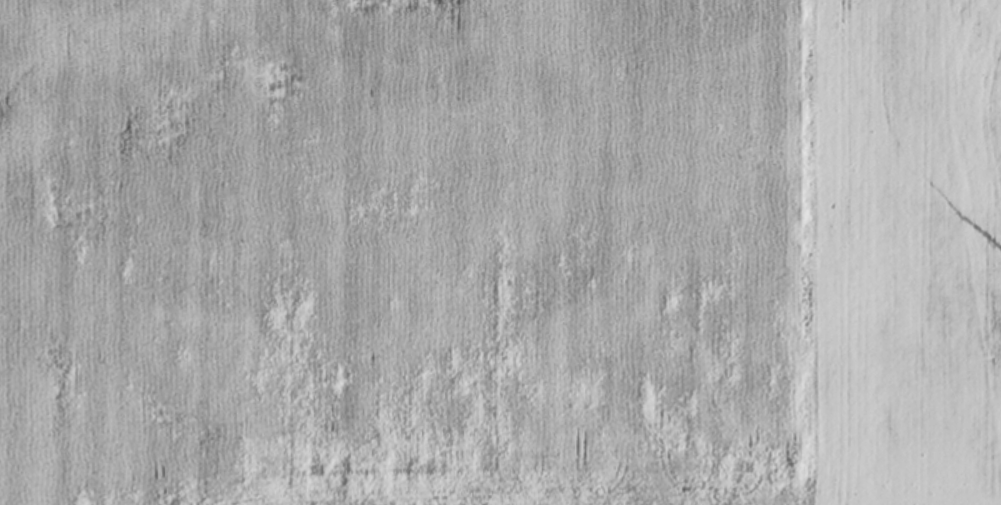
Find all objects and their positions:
crop: (401, 238)
airport: (883, 307)

